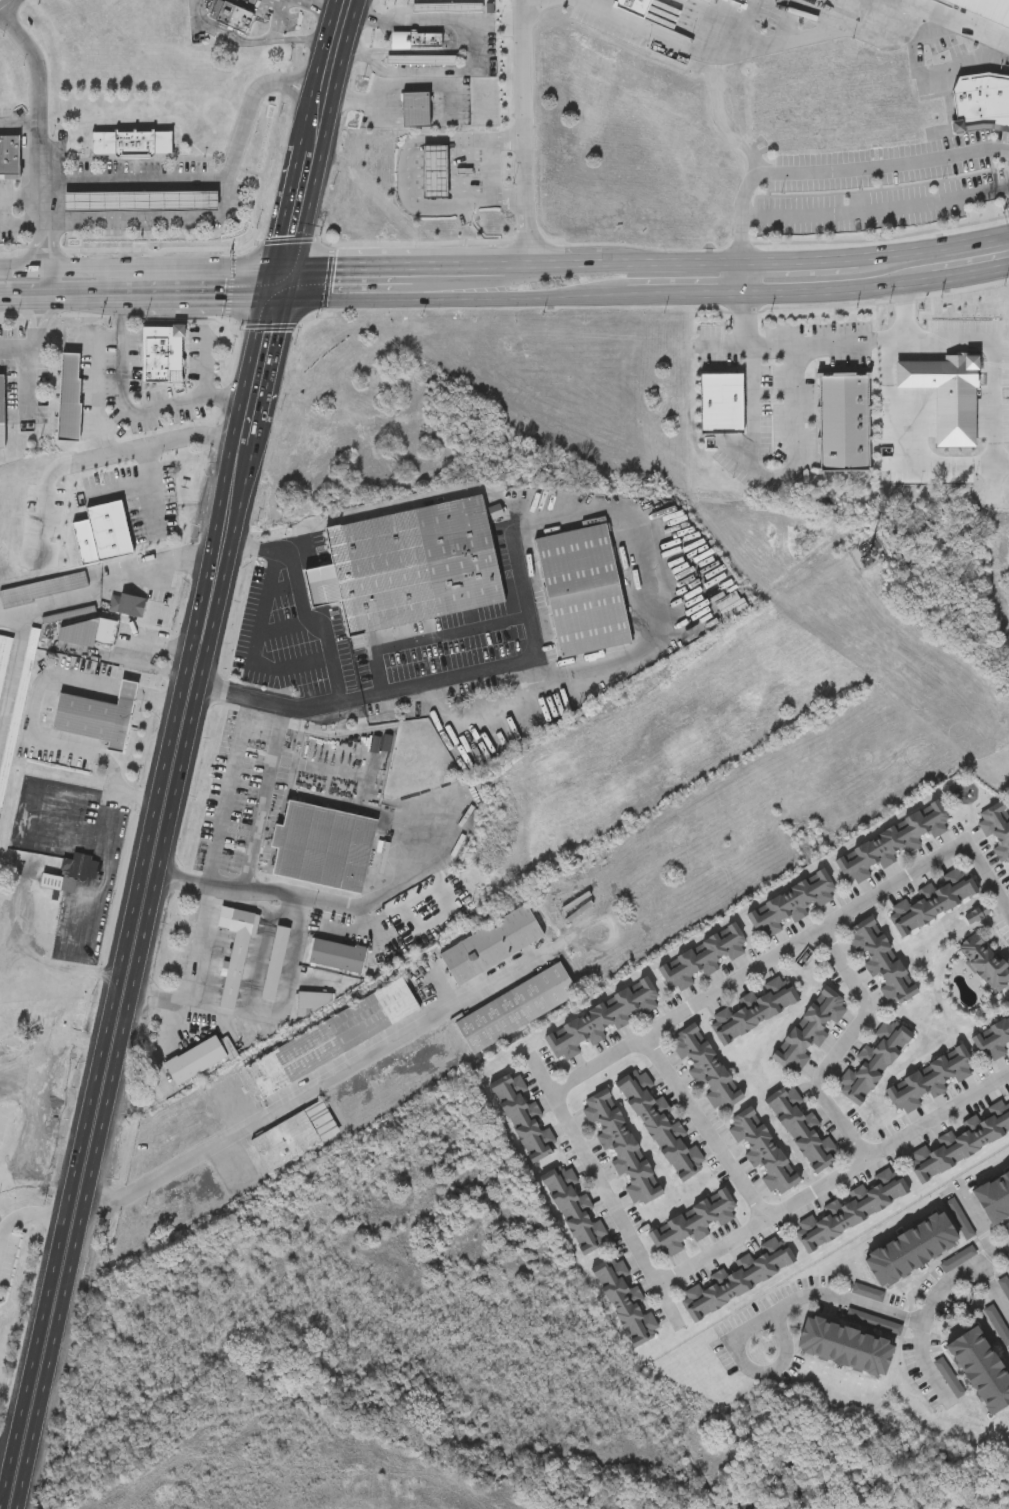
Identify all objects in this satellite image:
road: (280, 1)
road: (284, 1)
building: (741, 1)
building: (999, 4)
road: (314, 5)
building: (637, 6)
road: (9, 7)
road: (346, 7)
building: (446, 8)
building: (230, 16)
road: (280, 21)
road: (341, 31)
road: (799, 39)
building: (415, 40)
road: (257, 41)
road: (470, 50)
building: (420, 61)
road: (331, 71)
road: (386, 98)
building: (981, 103)
building: (415, 110)
road: (19, 123)
road: (522, 135)
building: (133, 144)
road: (38, 148)
building: (2, 155)
building: (12, 155)
road: (822, 171)
building: (436, 172)
gas station: (436, 172)
road: (406, 175)
road: (218, 184)
road: (305, 189)
road: (20, 193)
building: (141, 202)
gas station: (141, 202)
road: (878, 211)
road: (935, 246)
road: (803, 261)
road: (684, 263)
road: (569, 267)
road: (64, 271)
road: (490, 277)
traffic signals: (284, 284)
road: (295, 284)
road: (487, 291)
road: (68, 294)
road: (758, 295)
road: (6, 297)
road: (30, 318)
road: (47, 318)
road: (19, 346)
road: (984, 346)
road: (797, 347)
road: (726, 348)
building: (160, 352)
road: (96, 358)
building: (71, 365)
road: (122, 377)
road: (177, 404)
building: (722, 404)
building: (70, 410)
road: (256, 412)
building: (2, 413)
building: (844, 424)
road: (169, 441)
road: (898, 443)
road: (782, 478)
road: (149, 490)
building: (108, 531)
road: (257, 547)
building: (866, 555)
building: (408, 567)
road: (116, 582)
building: (43, 590)
building: (582, 592)
road: (525, 596)
building: (127, 605)
building: (68, 615)
road: (650, 625)
road: (316, 627)
building: (89, 633)
building: (4, 659)
road: (128, 692)
road: (168, 701)
building: (17, 710)
building: (96, 717)
road: (46, 743)
road: (233, 789)
road: (46, 791)
road: (267, 797)
building: (996, 830)
building: (891, 844)
building: (322, 848)
road: (103, 868)
road: (416, 870)
building: (1007, 873)
building: (72, 876)
building: (931, 901)
building: (790, 905)
building: (491, 946)
building: (235, 951)
building: (336, 957)
building: (701, 960)
building: (880, 961)
building: (984, 963)
building: (274, 964)
road: (195, 974)
building: (321, 976)
building: (314, 1002)
road: (284, 1005)
building: (515, 1009)
building: (752, 1010)
building: (601, 1021)
road: (122, 1025)
building: (809, 1030)
building: (331, 1039)
building: (993, 1041)
road: (842, 1043)
building: (194, 1061)
building: (872, 1062)
building: (705, 1069)
building: (929, 1081)
road: (310, 1093)
building: (524, 1117)
building: (660, 1126)
road: (703, 1126)
road: (565, 1127)
building: (802, 1129)
building: (294, 1137)
building: (959, 1142)
building: (621, 1148)
building: (761, 1152)
building: (994, 1196)
building: (575, 1210)
building: (850, 1210)
road: (22, 1222)
building: (691, 1225)
road: (979, 1225)
building: (919, 1246)
building: (737, 1279)
road: (994, 1291)
building: (625, 1301)
road: (933, 1304)
road: (774, 1309)
building: (846, 1348)
building: (982, 1372)
road: (171, 1494)
road: (355, 1497)

